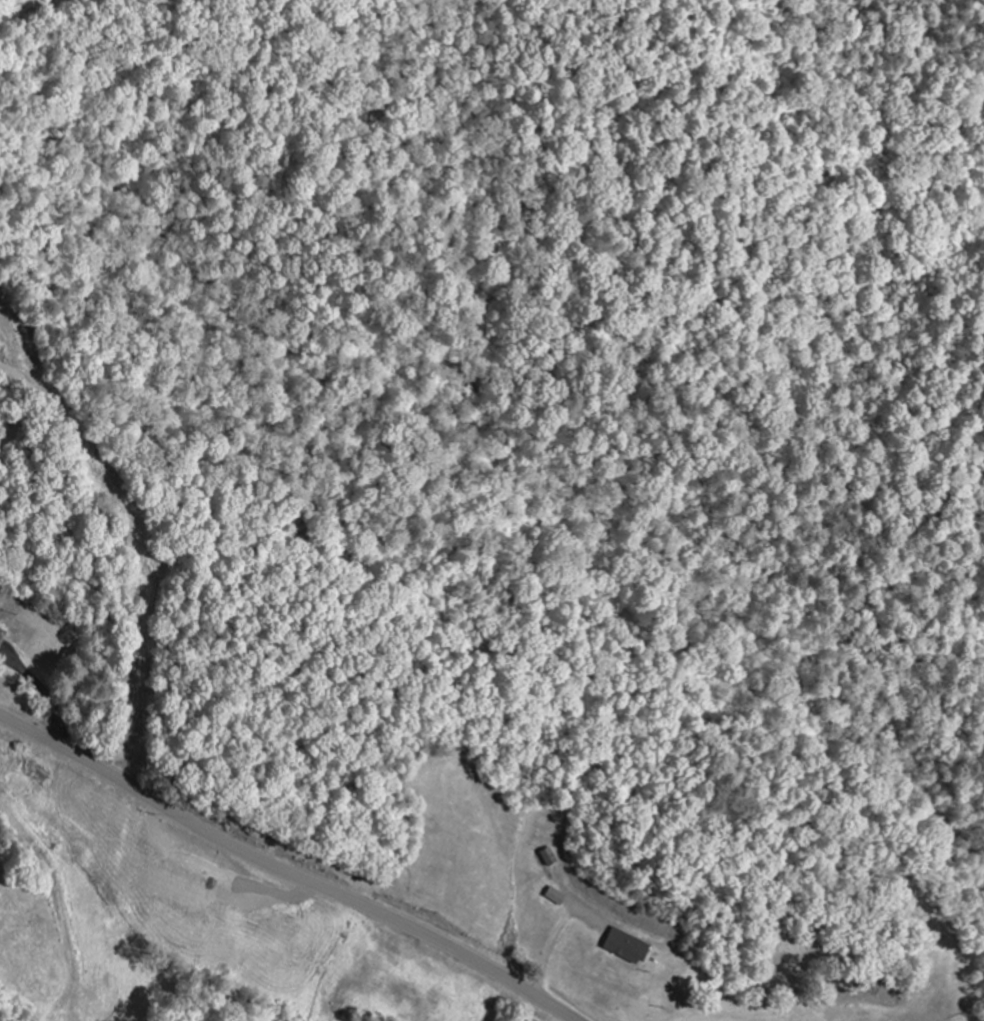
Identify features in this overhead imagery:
building: (550, 857)
road: (284, 872)
building: (556, 897)
building: (628, 947)

